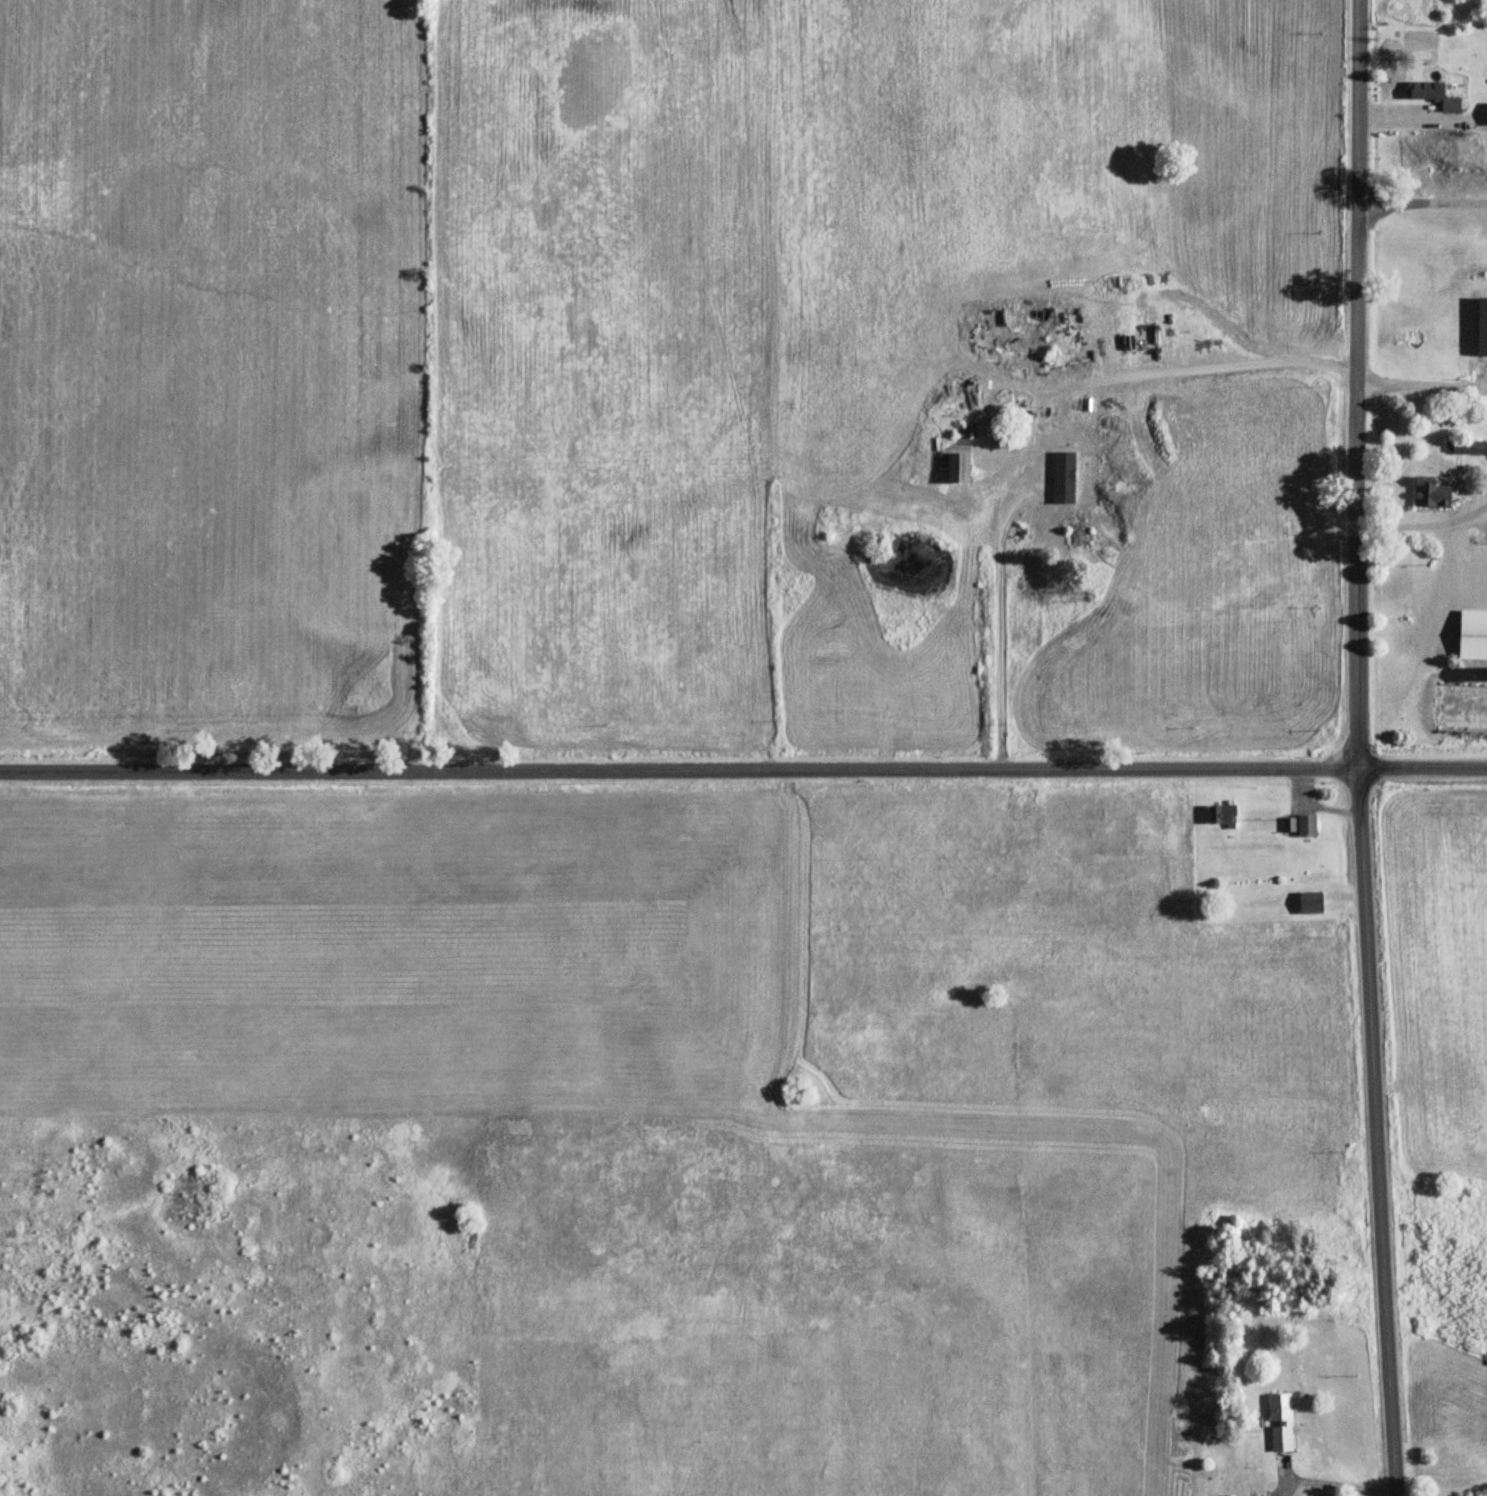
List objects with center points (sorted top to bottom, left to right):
building: (1436, 95)
road: (1424, 200)
building: (1193, 340)
road: (1165, 369)
road: (1423, 384)
building: (1070, 417)
building: (1103, 437)
building: (1467, 448)
road: (1431, 456)
building: (959, 460)
building: (1434, 494)
road: (1423, 522)
building: (1081, 534)
building: (1486, 545)
road: (1000, 629)
building: (1474, 631)
road: (1355, 748)
road: (743, 770)
building: (1223, 815)
building: (1290, 825)
building: (1308, 826)
building: (1312, 903)
building: (1282, 1423)
road: (1335, 1487)

